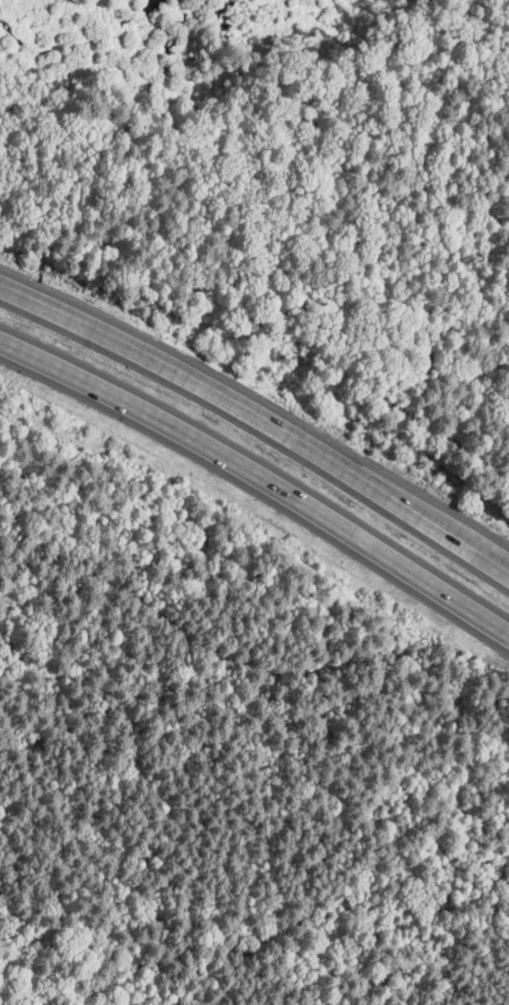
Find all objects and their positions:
road: (259, 424)
road: (261, 477)

